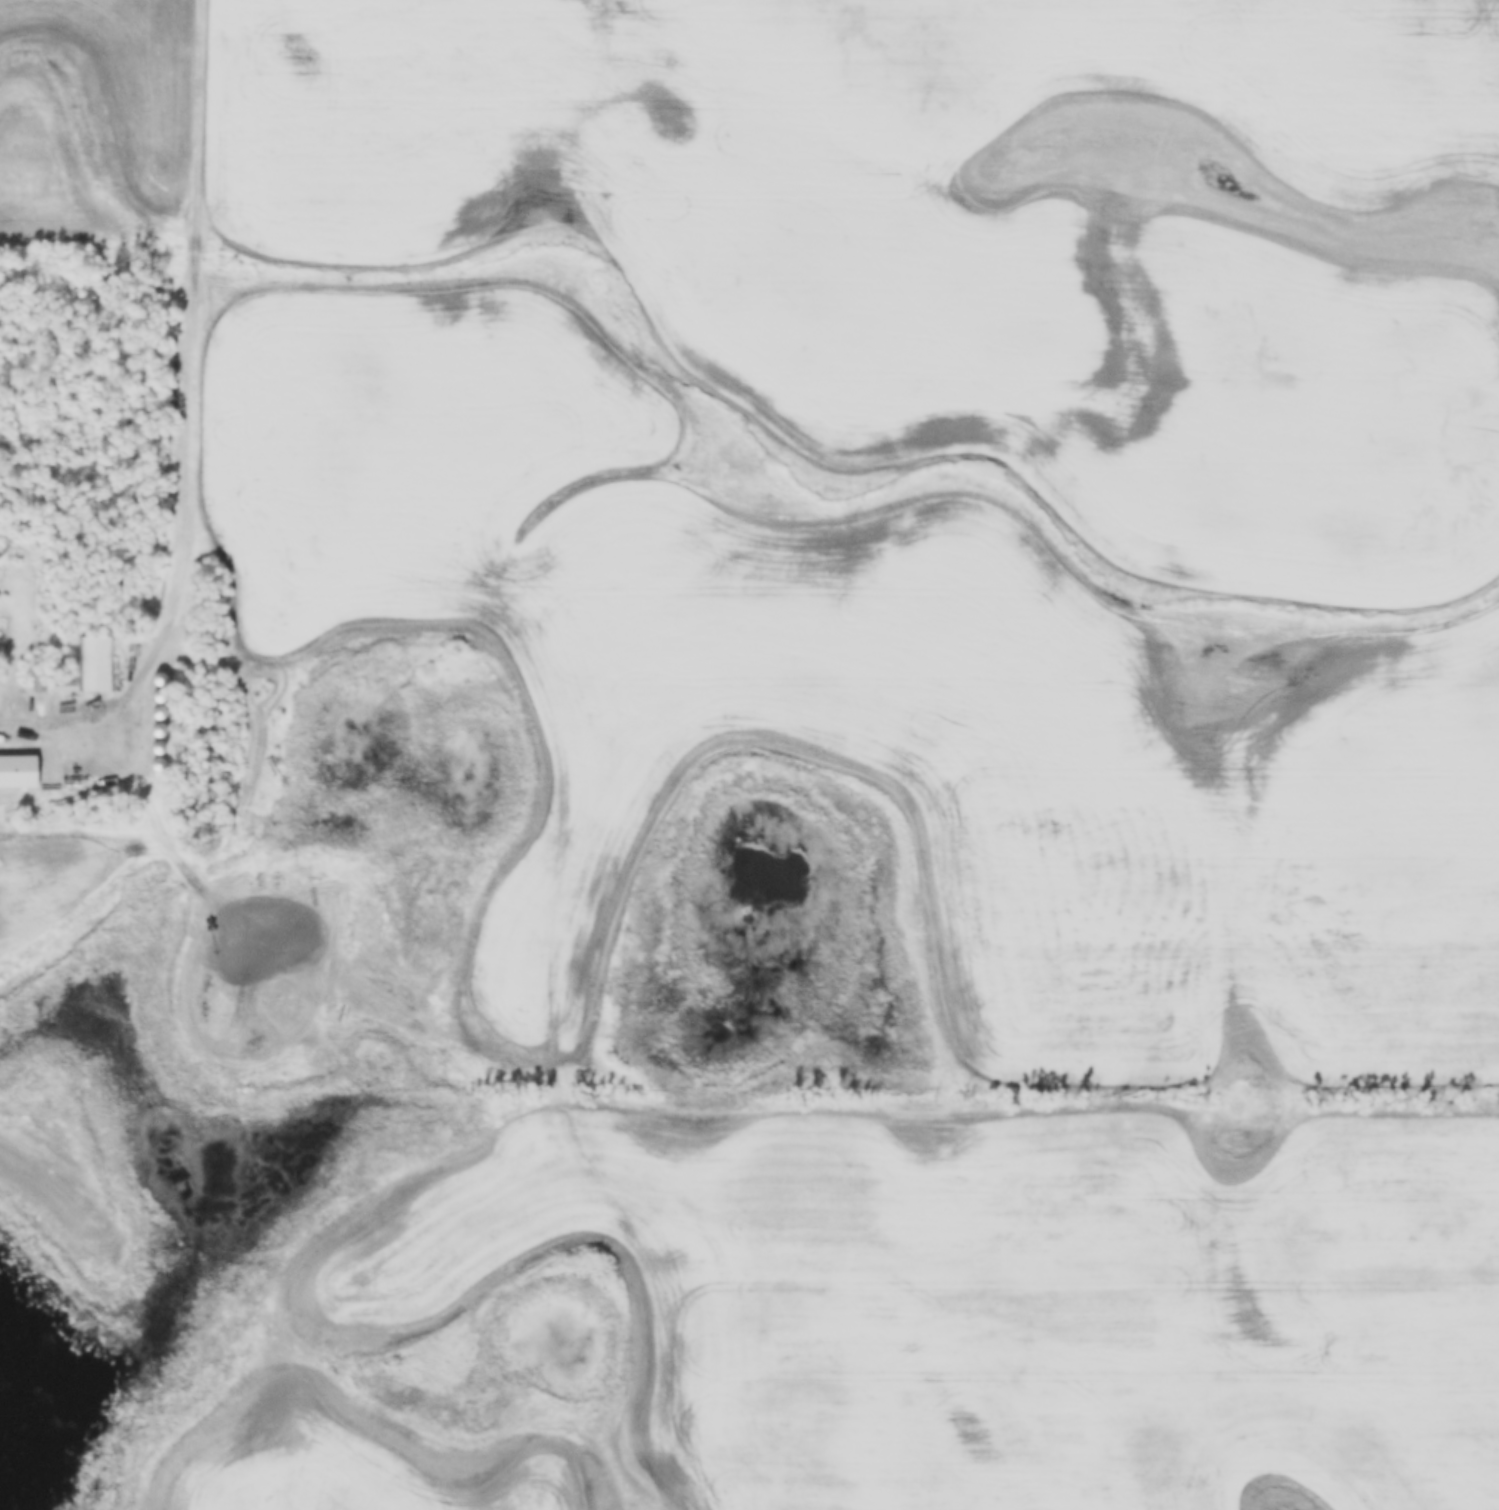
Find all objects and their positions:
road: (195, 369)
building: (96, 664)
building: (38, 684)
building: (63, 687)
road: (54, 729)
building: (17, 770)
road: (464, 1021)

